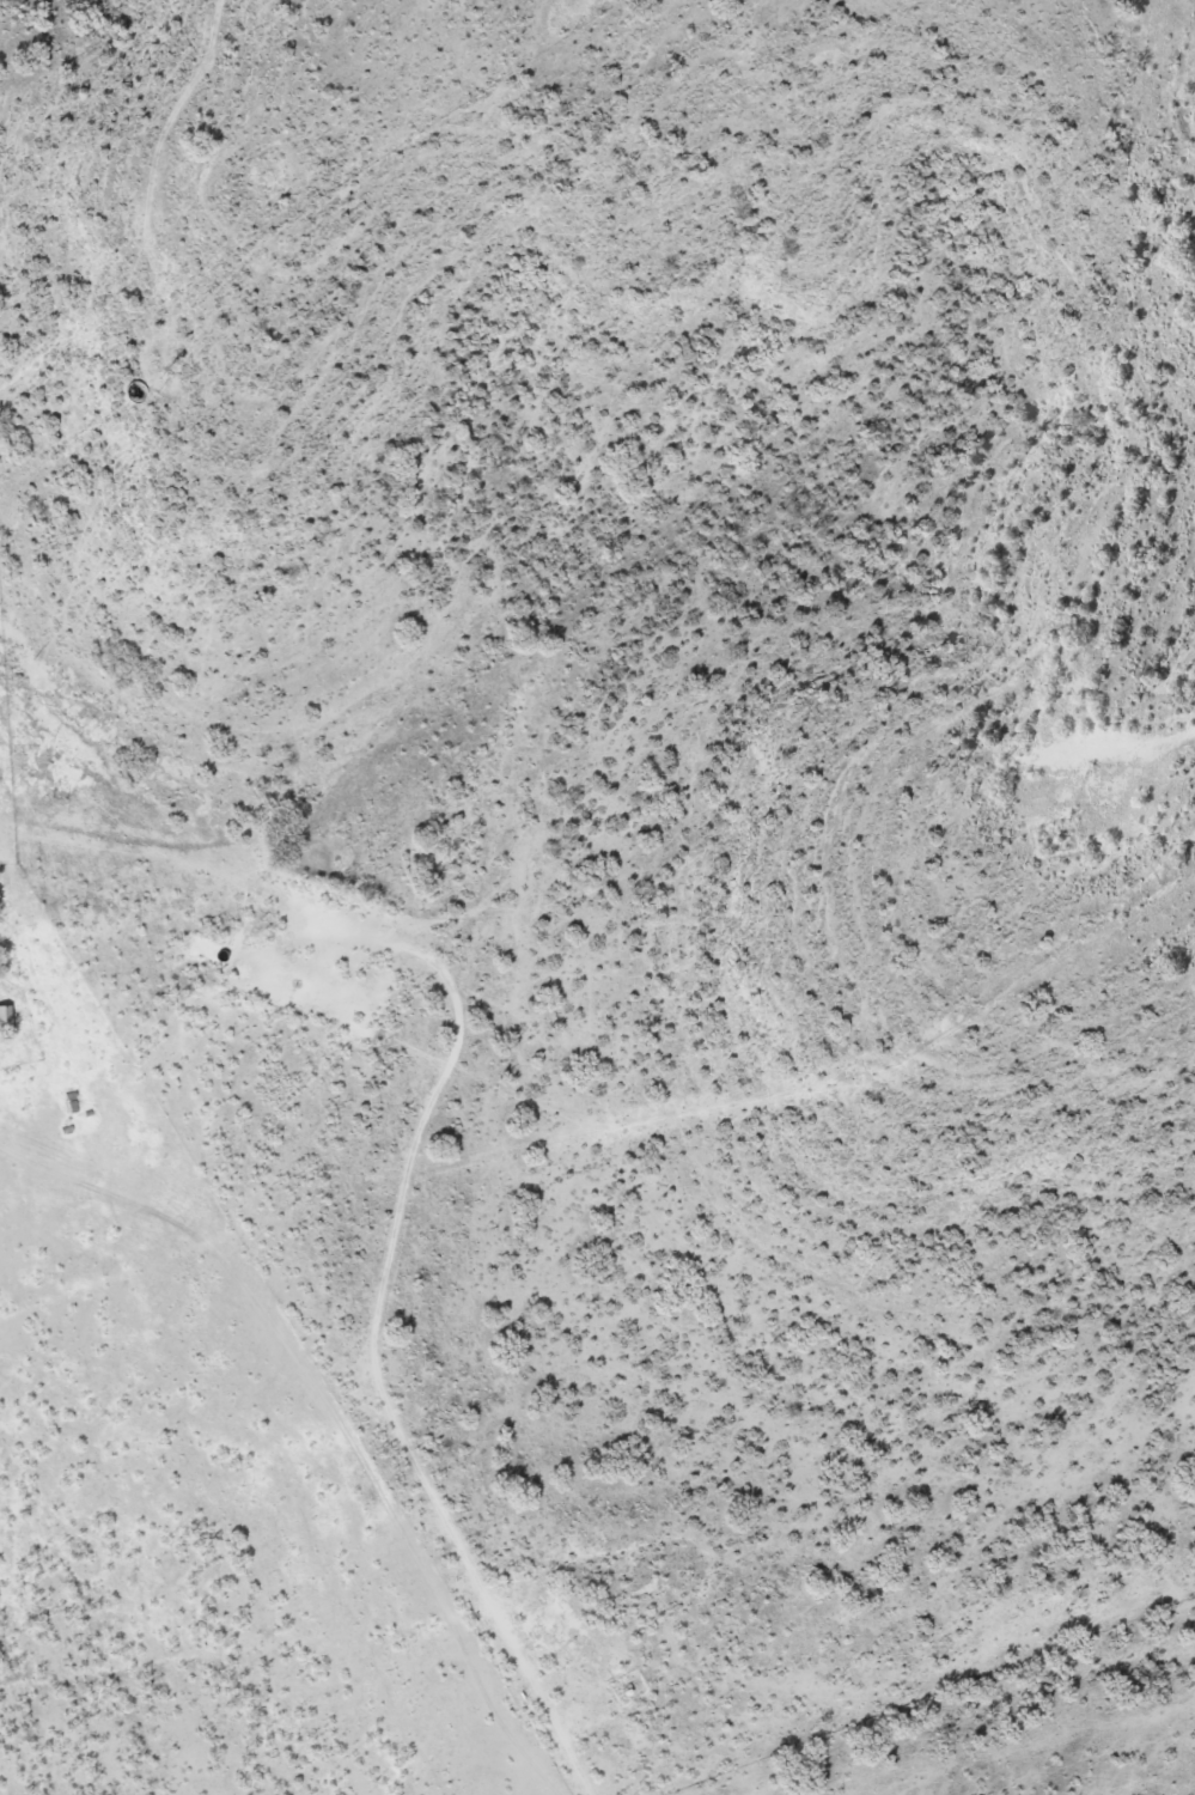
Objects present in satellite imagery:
road: (219, 69)
building: (5, 1017)

